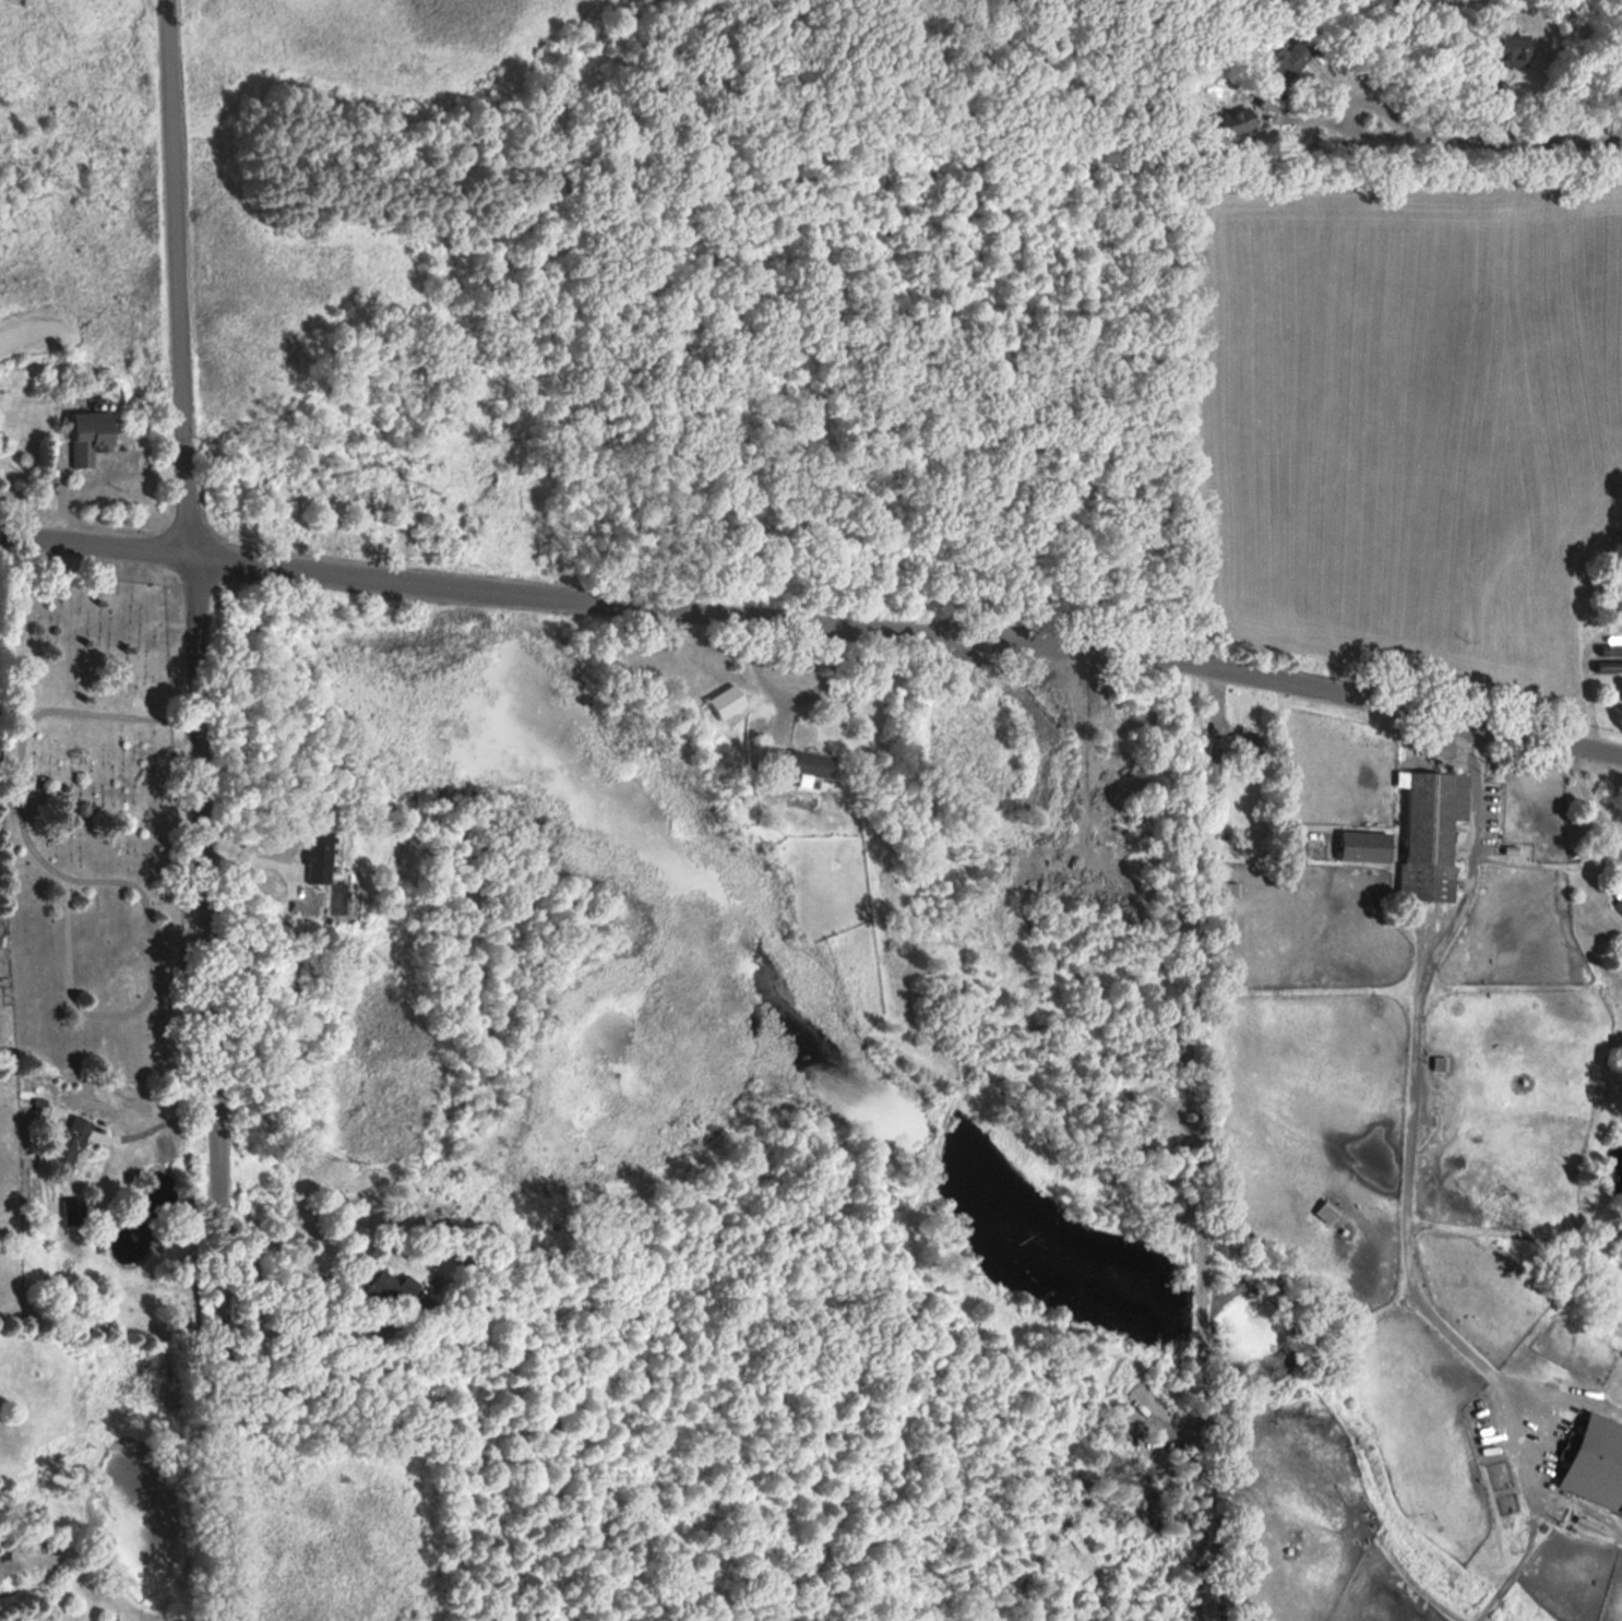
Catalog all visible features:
building: (1508, 49)
building: (1287, 58)
building: (1231, 121)
road: (1347, 128)
road: (1519, 133)
park: (701, 299)
building: (84, 436)
building: (1613, 607)
road: (814, 621)
road: (792, 696)
building: (725, 701)
building: (1232, 744)
building: (797, 760)
road: (1589, 796)
road: (17, 803)
road: (200, 810)
park: (95, 820)
building: (1428, 832)
building: (1360, 846)
building: (315, 857)
building: (1618, 905)
road: (84, 1008)
building: (1438, 1062)
road: (1418, 1089)
road: (157, 1121)
building: (68, 1139)
building: (1325, 1211)
road: (296, 1259)
building: (386, 1291)
building: (1593, 1461)

